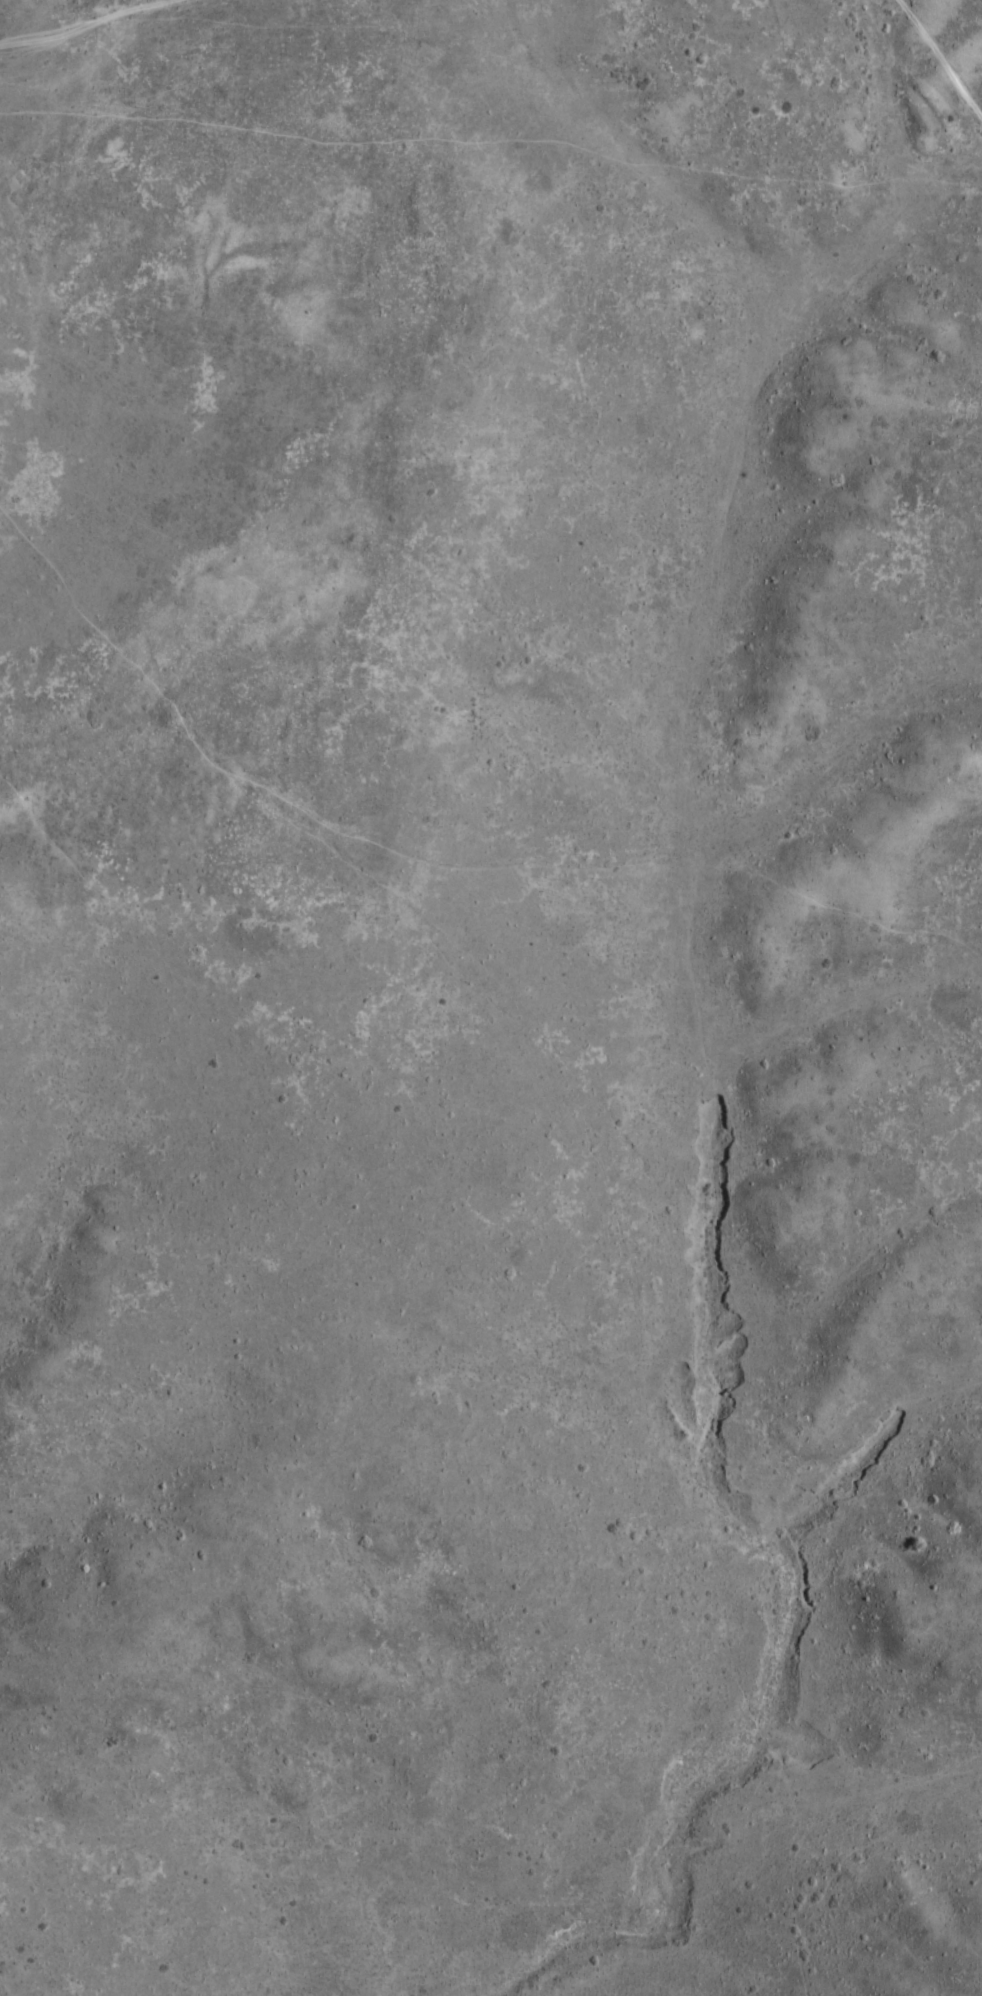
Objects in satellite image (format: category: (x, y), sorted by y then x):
road: (32, 7)
road: (921, 77)

